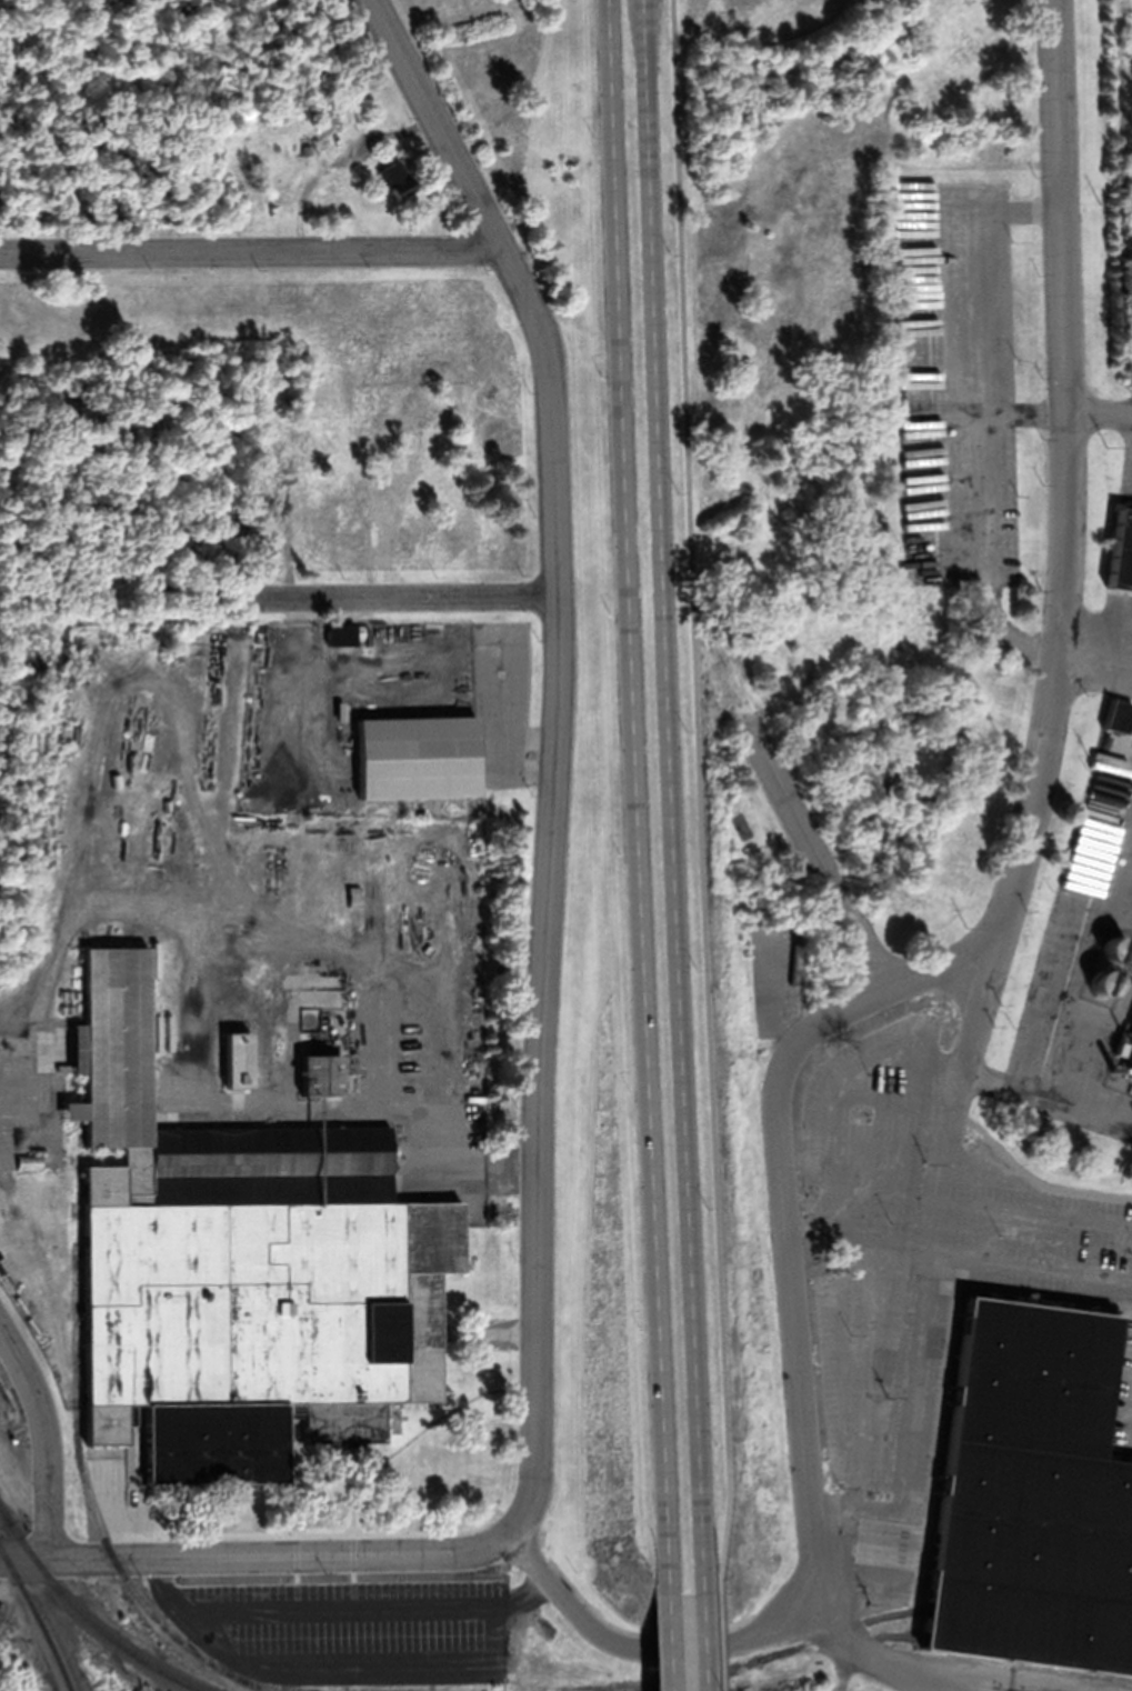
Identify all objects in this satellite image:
building: (986, 48)
building: (902, 62)
building: (954, 73)
road: (460, 169)
building: (395, 179)
building: (916, 227)
road: (250, 249)
road: (1101, 411)
building: (1121, 551)
road: (402, 593)
building: (341, 634)
building: (1119, 714)
building: (417, 758)
road: (669, 794)
road: (699, 794)
road: (634, 796)
road: (1032, 838)
road: (813, 853)
road: (543, 941)
building: (773, 951)
building: (1113, 967)
building: (1128, 1047)
building: (238, 1061)
building: (1131, 1074)
building: (320, 1077)
road: (978, 1078)
building: (1131, 1080)
building: (240, 1267)
railway: (3, 1395)
road: (44, 1439)
railway: (84, 1481)
road: (19, 1491)
building: (1033, 1494)
railway: (6, 1511)
railway: (6, 1513)
road: (256, 1554)
railway: (39, 1615)
railway: (94, 1622)
railway: (840, 1638)
road: (698, 1640)
road: (717, 1640)
road: (662, 1641)
railway: (795, 1645)
road: (669, 1647)
road: (932, 1674)

